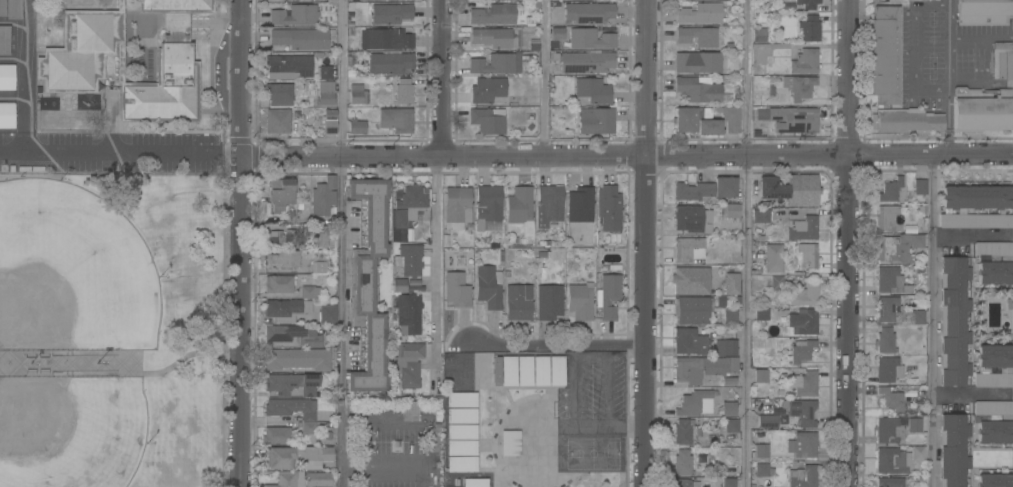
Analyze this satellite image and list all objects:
building: (306, 0)
building: (364, 0)
building: (900, 1)
road: (947, 3)
building: (807, 4)
building: (2, 8)
building: (13, 9)
building: (588, 12)
building: (983, 12)
building: (390, 13)
building: (493, 14)
building: (698, 14)
building: (294, 15)
building: (809, 28)
building: (557, 33)
building: (758, 35)
building: (496, 37)
building: (699, 37)
building: (299, 38)
road: (980, 38)
building: (590, 39)
building: (4, 40)
road: (915, 47)
road: (947, 47)
building: (386, 50)
building: (758, 50)
building: (1001, 60)
building: (804, 61)
building: (586, 62)
building: (697, 62)
building: (493, 63)
building: (288, 67)
building: (69, 70)
building: (324, 72)
building: (891, 75)
building: (6, 77)
road: (339, 79)
road: (440, 79)
road: (541, 79)
building: (798, 86)
road: (22, 87)
building: (486, 89)
building: (697, 89)
building: (278, 91)
building: (591, 91)
building: (403, 92)
building: (325, 93)
building: (357, 94)
building: (981, 111)
building: (6, 115)
building: (688, 118)
building: (729, 118)
building: (789, 118)
building: (395, 119)
building: (282, 120)
building: (487, 120)
building: (329, 121)
building: (595, 121)
road: (947, 123)
building: (356, 126)
building: (708, 126)
road: (119, 149)
road: (626, 158)
building: (919, 187)
building: (772, 188)
building: (705, 189)
building: (890, 189)
building: (801, 190)
building: (280, 191)
building: (322, 197)
building: (549, 203)
building: (487, 205)
building: (579, 205)
building: (456, 206)
building: (975, 207)
building: (520, 208)
building: (608, 208)
building: (406, 211)
building: (729, 211)
building: (761, 216)
building: (885, 217)
building: (688, 218)
building: (803, 228)
road: (967, 232)
building: (316, 233)
building: (277, 239)
road: (239, 243)
road: (646, 243)
road: (748, 243)
road: (852, 243)
building: (897, 248)
building: (687, 249)
building: (807, 255)
building: (772, 258)
building: (287, 259)
building: (408, 260)
building: (993, 262)
building: (318, 267)
park: (71, 271)
road: (436, 274)
building: (888, 279)
building: (687, 280)
building: (730, 283)
building: (776, 283)
building: (278, 284)
building: (368, 285)
building: (398, 285)
building: (486, 288)
building: (456, 290)
building: (309, 292)
building: (803, 294)
building: (608, 296)
building: (518, 301)
building: (548, 301)
building: (579, 302)
building: (407, 308)
building: (886, 308)
building: (286, 310)
building: (691, 310)
building: (327, 314)
building: (761, 314)
building: (728, 316)
building: (916, 317)
building: (802, 321)
road: (929, 321)
road: (339, 322)
building: (952, 322)
park: (112, 330)
building: (293, 336)
building: (884, 340)
building: (689, 342)
road: (557, 343)
building: (800, 351)
road: (590, 356)
building: (297, 358)
road: (127, 363)
building: (408, 363)
building: (707, 363)
building: (993, 366)
building: (538, 369)
building: (887, 369)
building: (494, 370)
building: (507, 370)
building: (523, 370)
building: (554, 370)
building: (760, 375)
building: (728, 381)
building: (803, 383)
building: (291, 384)
parking lot: (590, 392)
building: (890, 397)
building: (459, 399)
building: (695, 402)
building: (291, 408)
building: (727, 408)
building: (410, 409)
building: (802, 411)
building: (459, 415)
building: (993, 420)
building: (767, 421)
road: (588, 424)
road: (626, 424)
building: (731, 425)
building: (914, 425)
building: (889, 429)
park: (70, 431)
building: (459, 431)
building: (684, 431)
building: (307, 432)
building: (275, 435)
building: (431, 442)
building: (509, 443)
building: (804, 444)
road: (411, 445)
building: (459, 447)
building: (952, 450)
park: (591, 451)
building: (761, 451)
building: (918, 453)
building: (298, 457)
building: (891, 460)
building: (682, 462)
building: (459, 463)
building: (761, 469)
building: (802, 477)
building: (286, 479)
building: (318, 479)
building: (993, 480)
building: (473, 482)
building: (728, 482)
building: (890, 482)
building: (686, 483)

